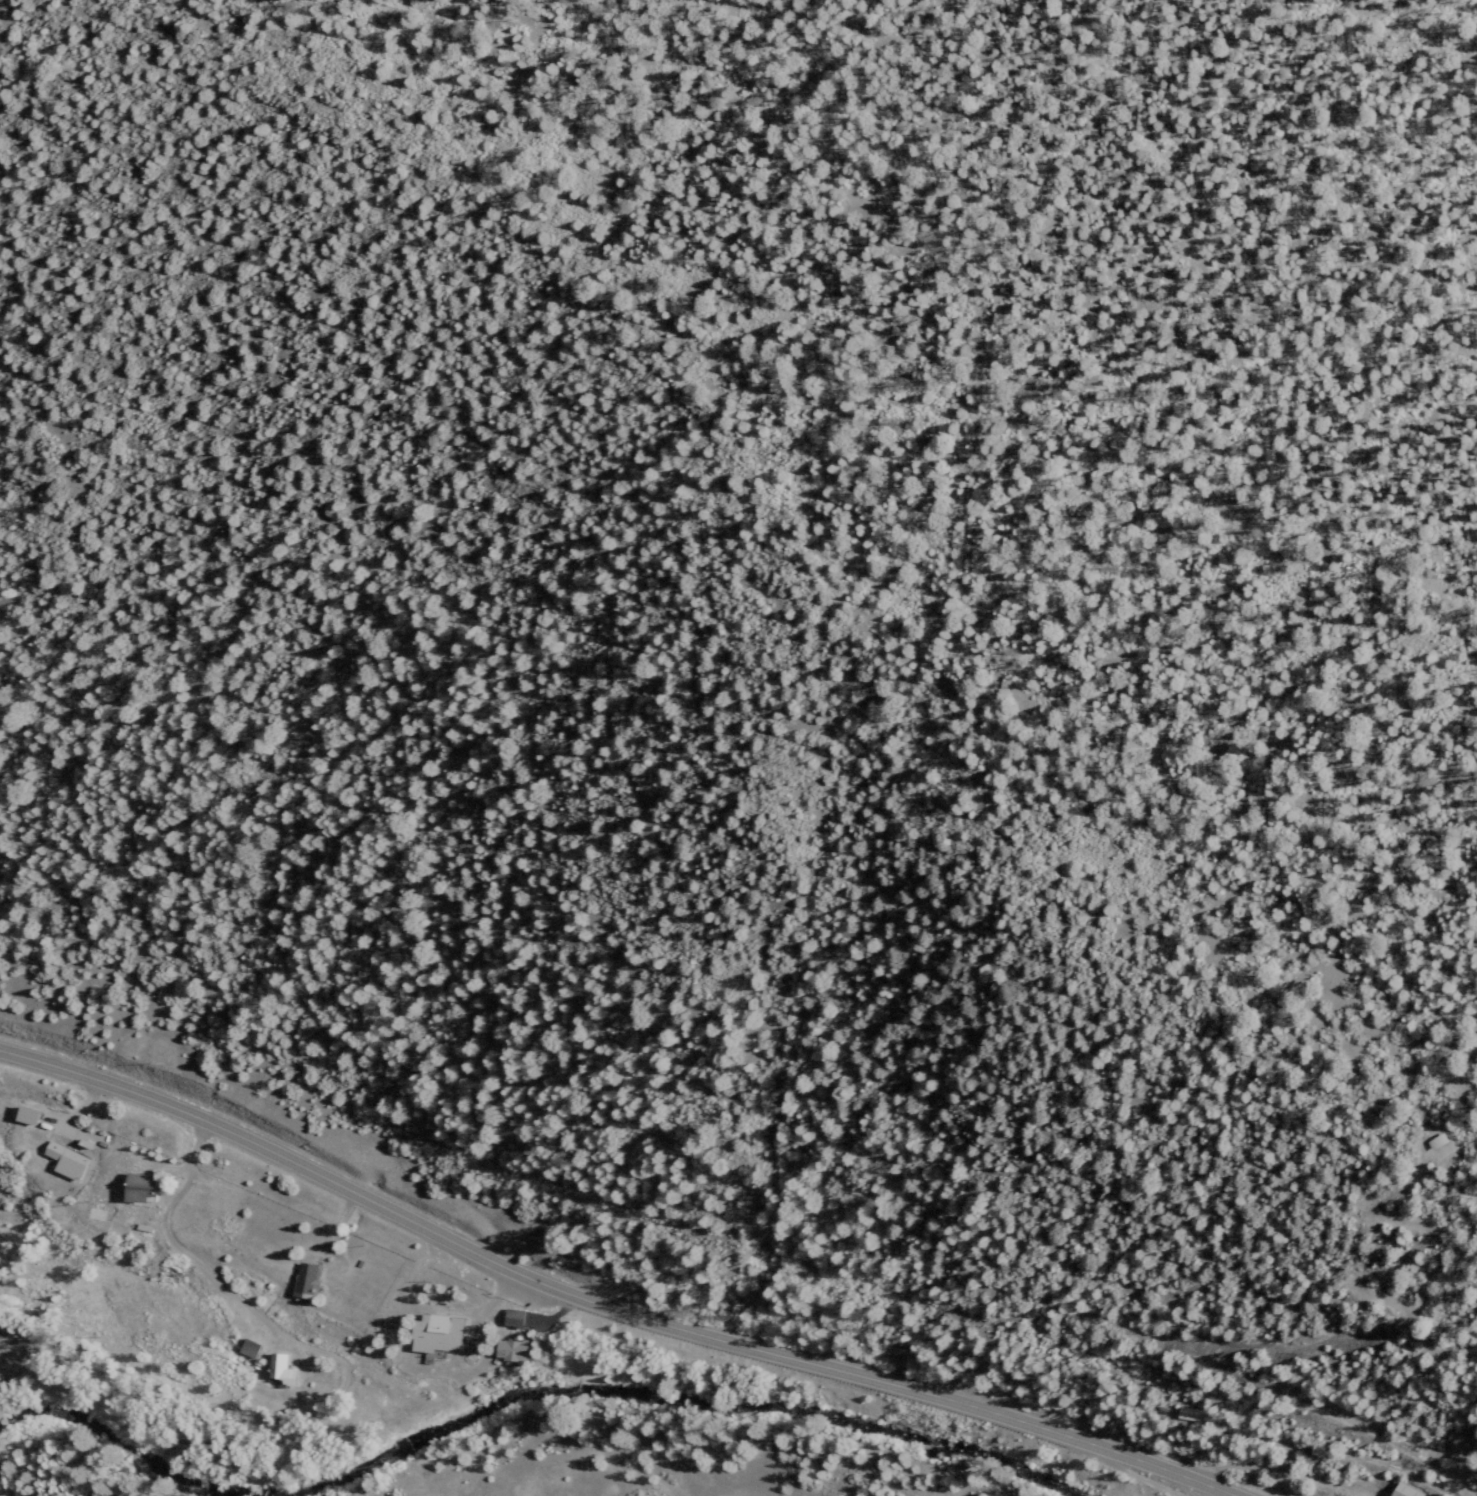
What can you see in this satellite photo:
building: (33, 1115)
building: (71, 1161)
building: (146, 1187)
building: (310, 1281)
road: (606, 1305)
building: (512, 1318)
building: (436, 1334)
building: (254, 1348)
building: (510, 1351)
building: (285, 1369)
building: (4, 1385)
river: (524, 1397)
building: (1188, 1413)
road: (1149, 1480)
building: (1404, 1490)

